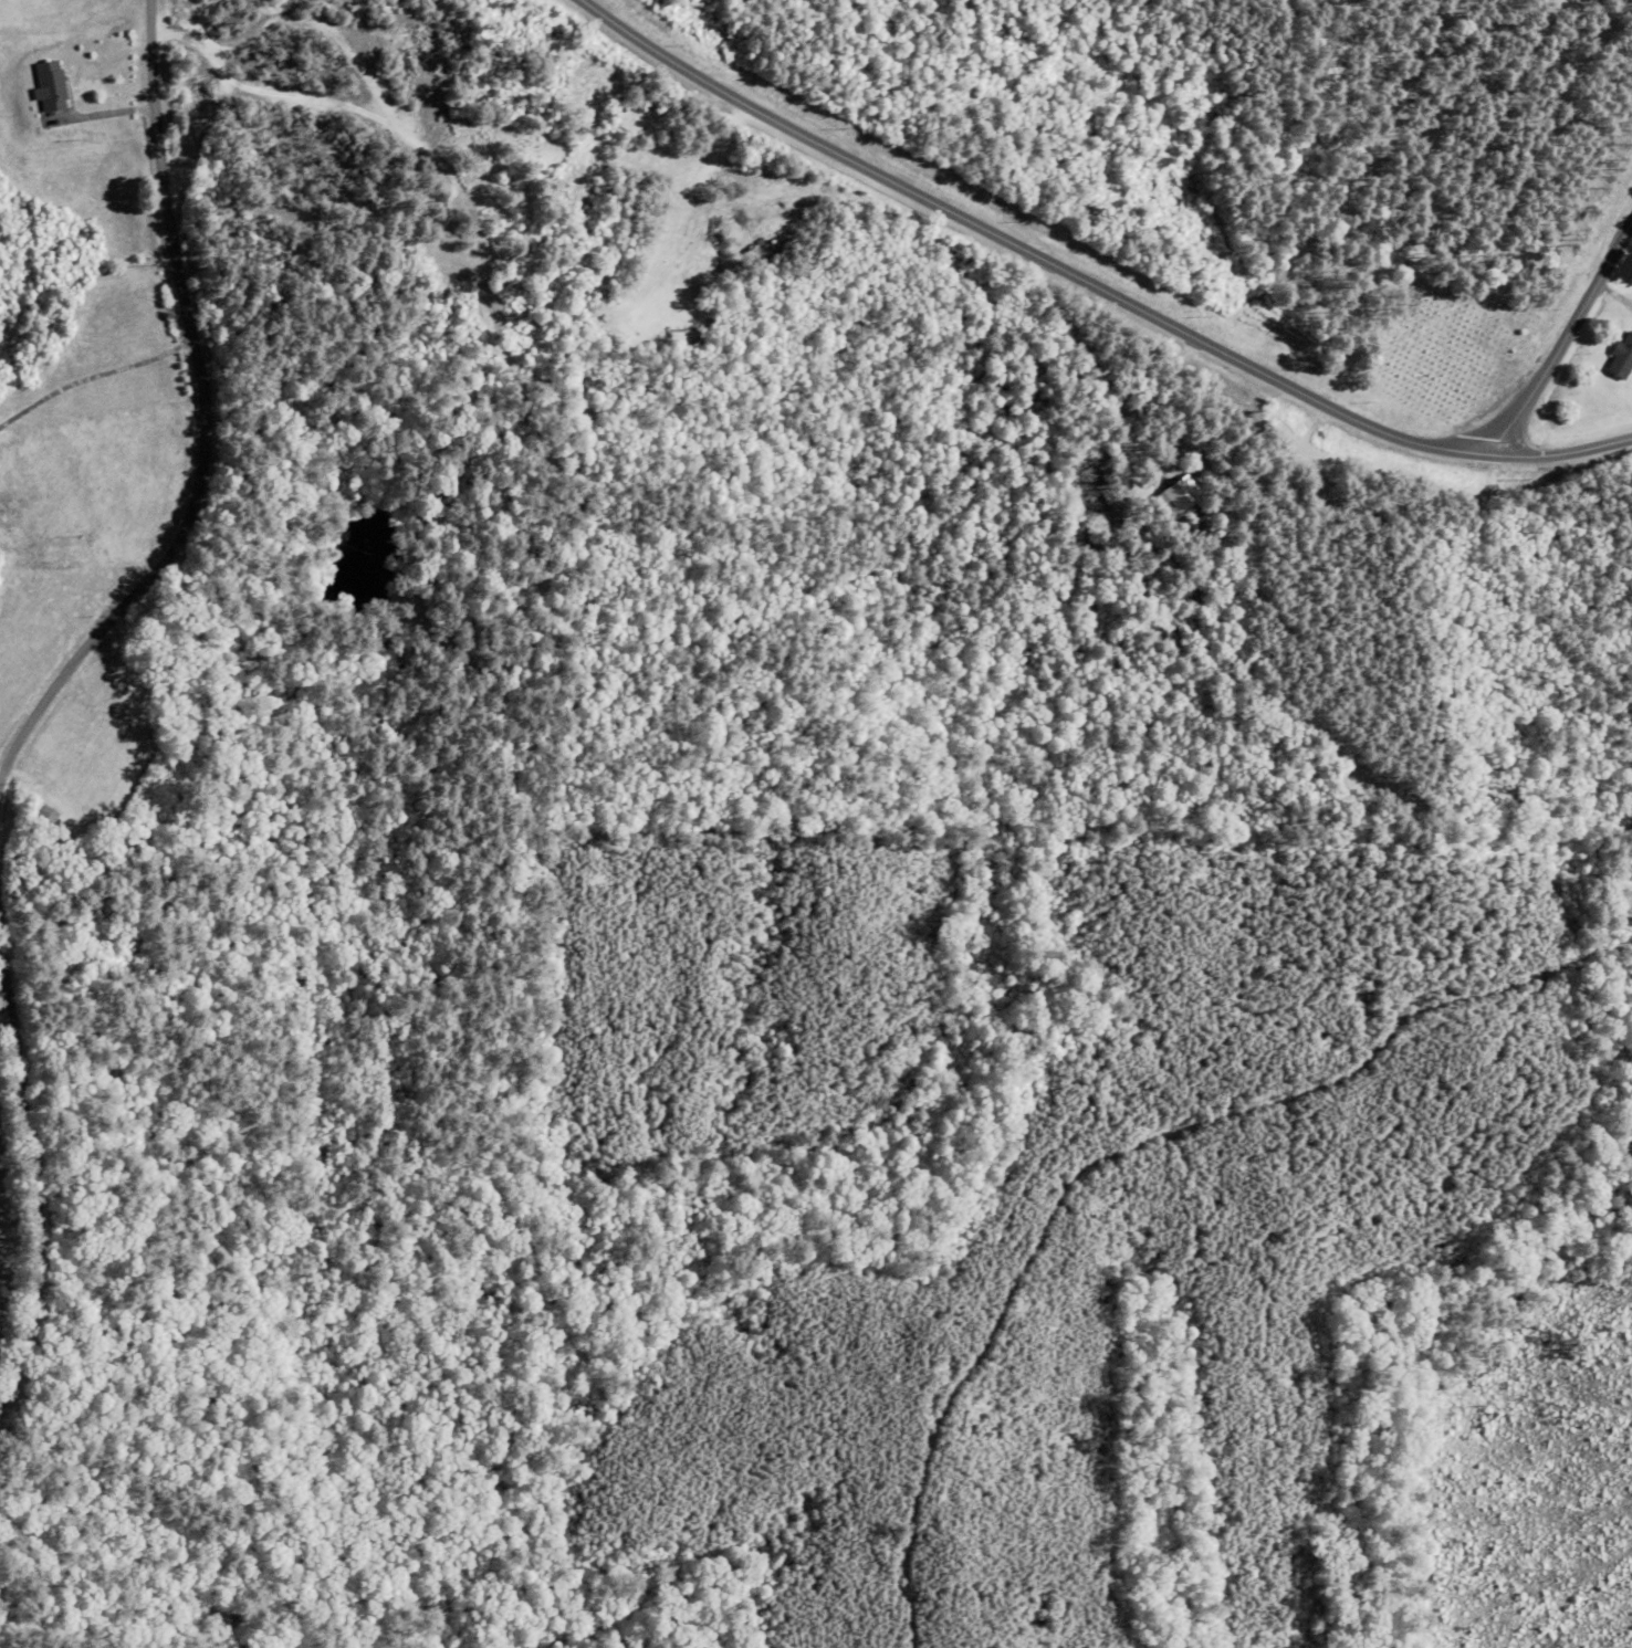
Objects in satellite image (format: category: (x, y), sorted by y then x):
building: (55, 87)
road: (1089, 281)
road: (1558, 343)
building: (1621, 358)
road: (185, 428)
building: (111, 679)
building: (38, 819)
road: (33, 1171)

